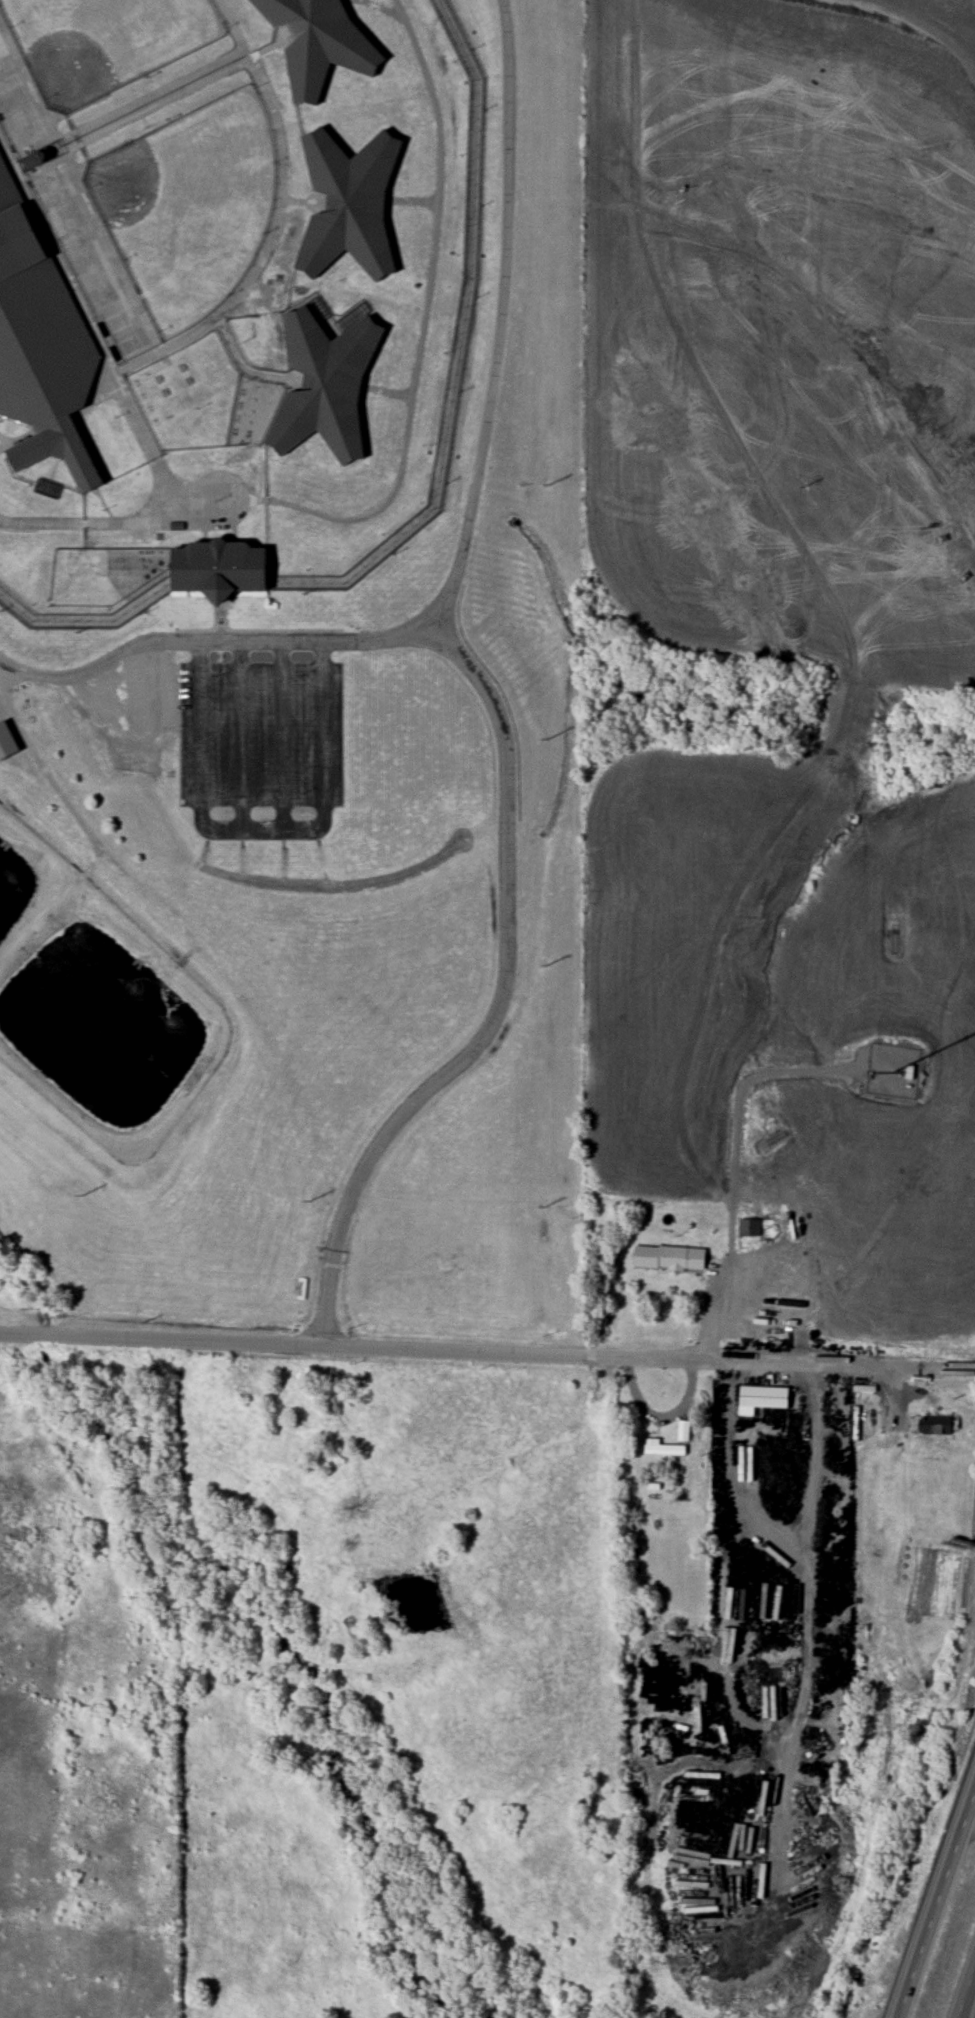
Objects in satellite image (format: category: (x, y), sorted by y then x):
park: (100, 41)
building: (318, 43)
road: (115, 119)
road: (303, 201)
building: (349, 203)
park: (190, 206)
road: (276, 217)
road: (112, 249)
road: (425, 313)
road: (502, 322)
building: (42, 342)
road: (247, 369)
building: (329, 386)
road: (131, 403)
road: (18, 439)
road: (249, 499)
road: (200, 501)
road: (206, 520)
building: (224, 568)
road: (252, 642)
road: (36, 676)
building: (7, 743)
road: (48, 775)
road: (500, 1007)
building: (748, 1227)
road: (732, 1244)
building: (668, 1258)
road: (455, 1350)
road: (889, 1393)
building: (764, 1396)
building: (935, 1425)
building: (664, 1450)
road: (780, 1613)
building: (770, 1644)
road: (969, 1826)
road: (935, 1904)
road: (965, 1989)

